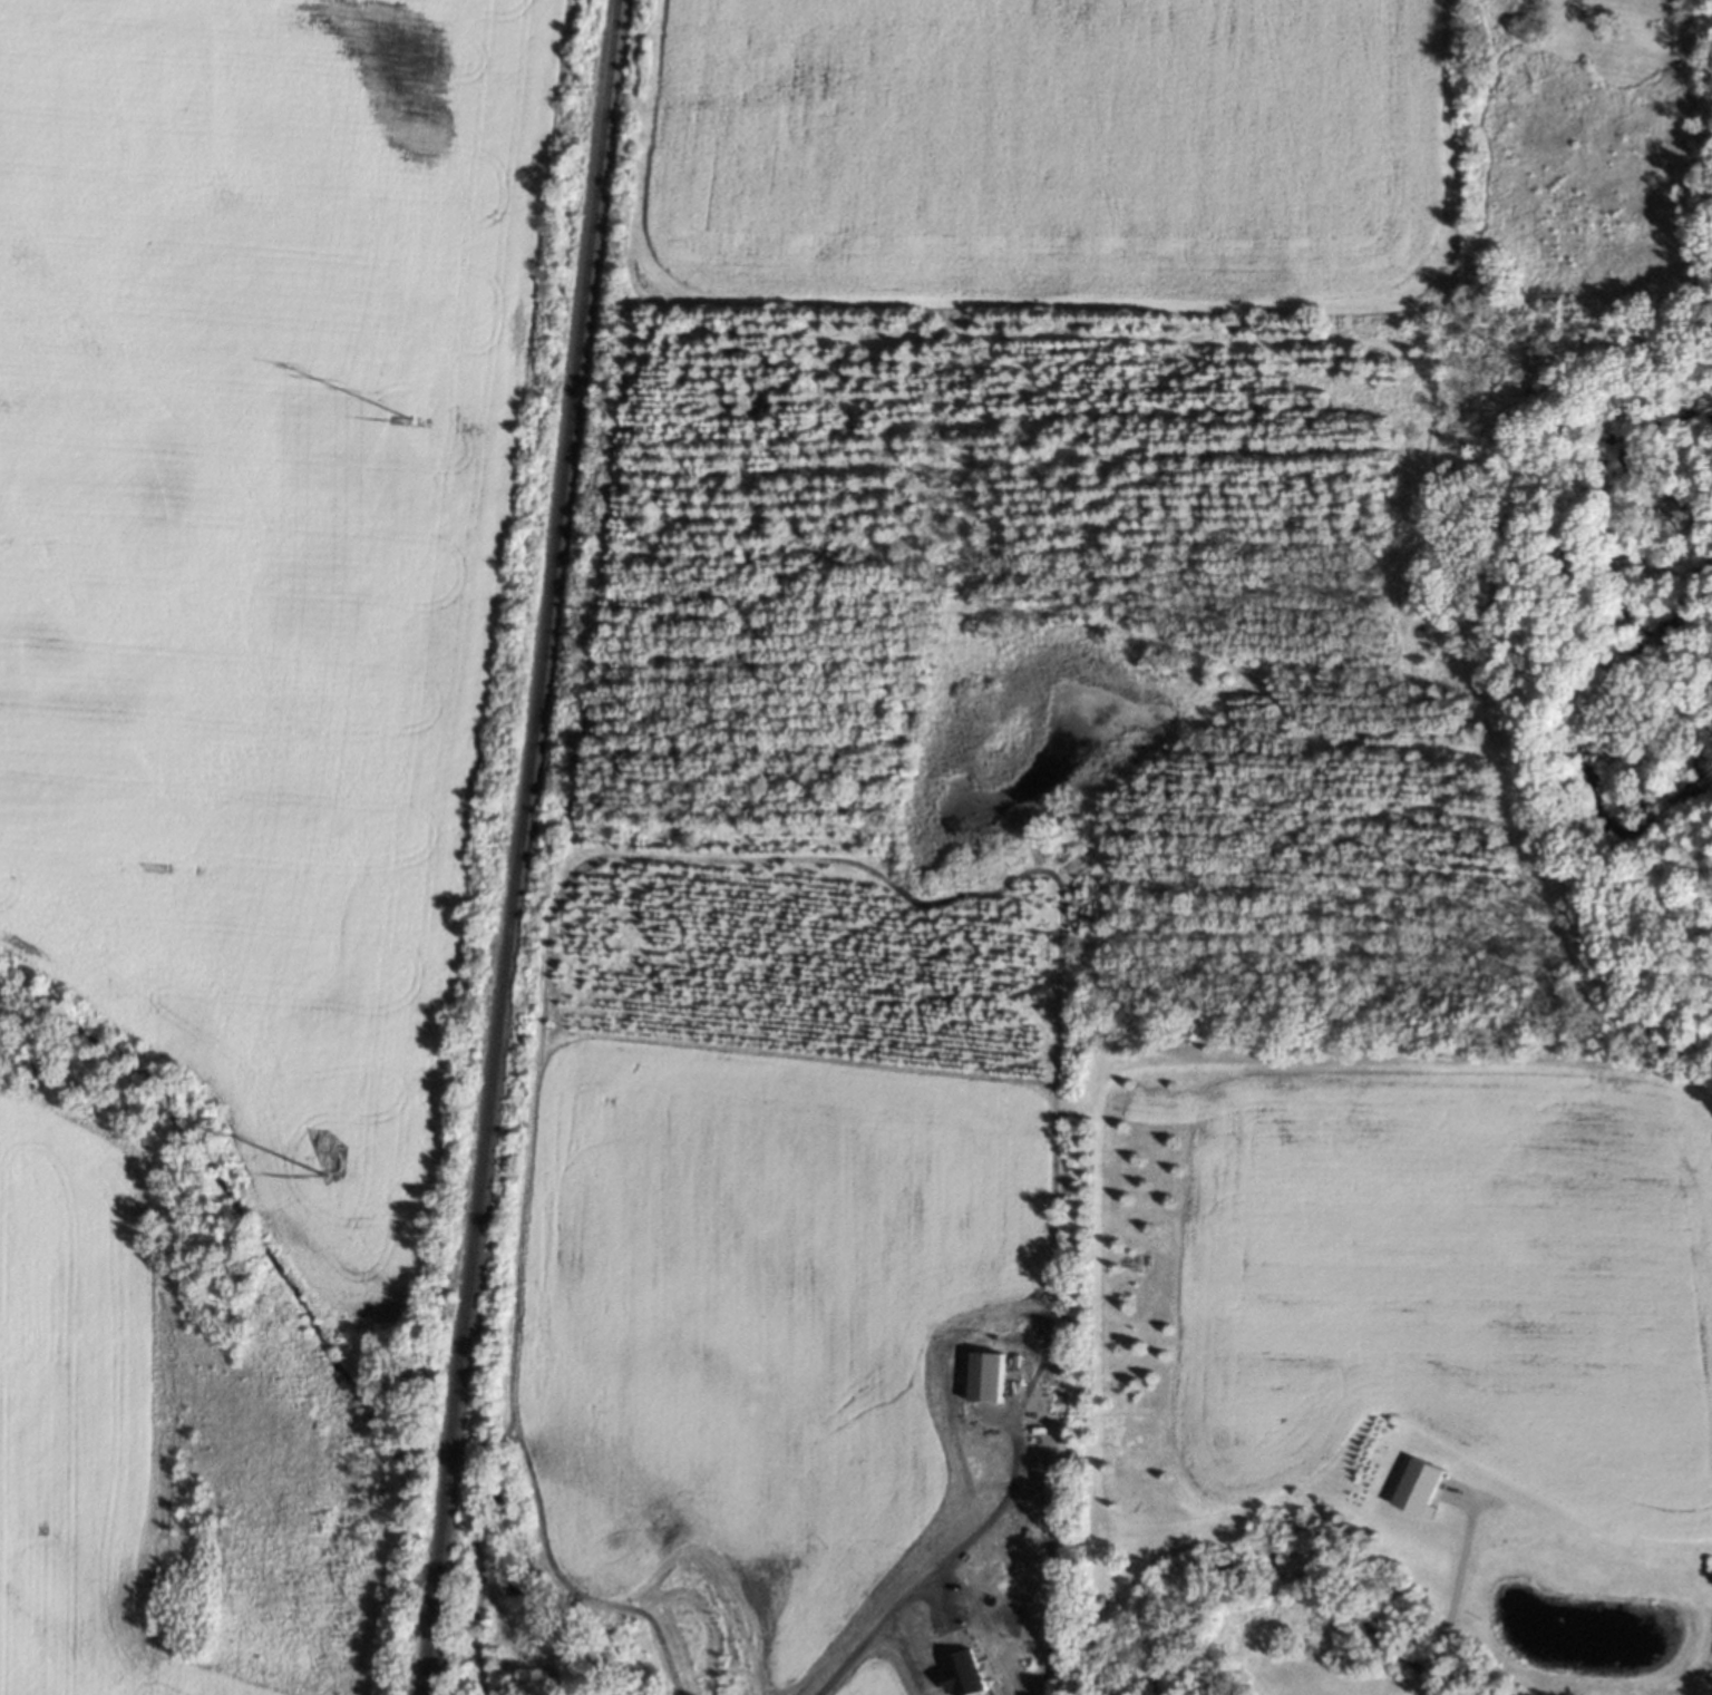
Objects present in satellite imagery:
road: (1654, 49)
crop: (1051, 153)
power tower: (411, 419)
park: (1582, 530)
railway: (516, 847)
power tower: (324, 1163)
building: (984, 1376)
building: (1418, 1487)
road: (927, 1578)
road: (1444, 1588)
road: (902, 1653)
building: (962, 1673)

